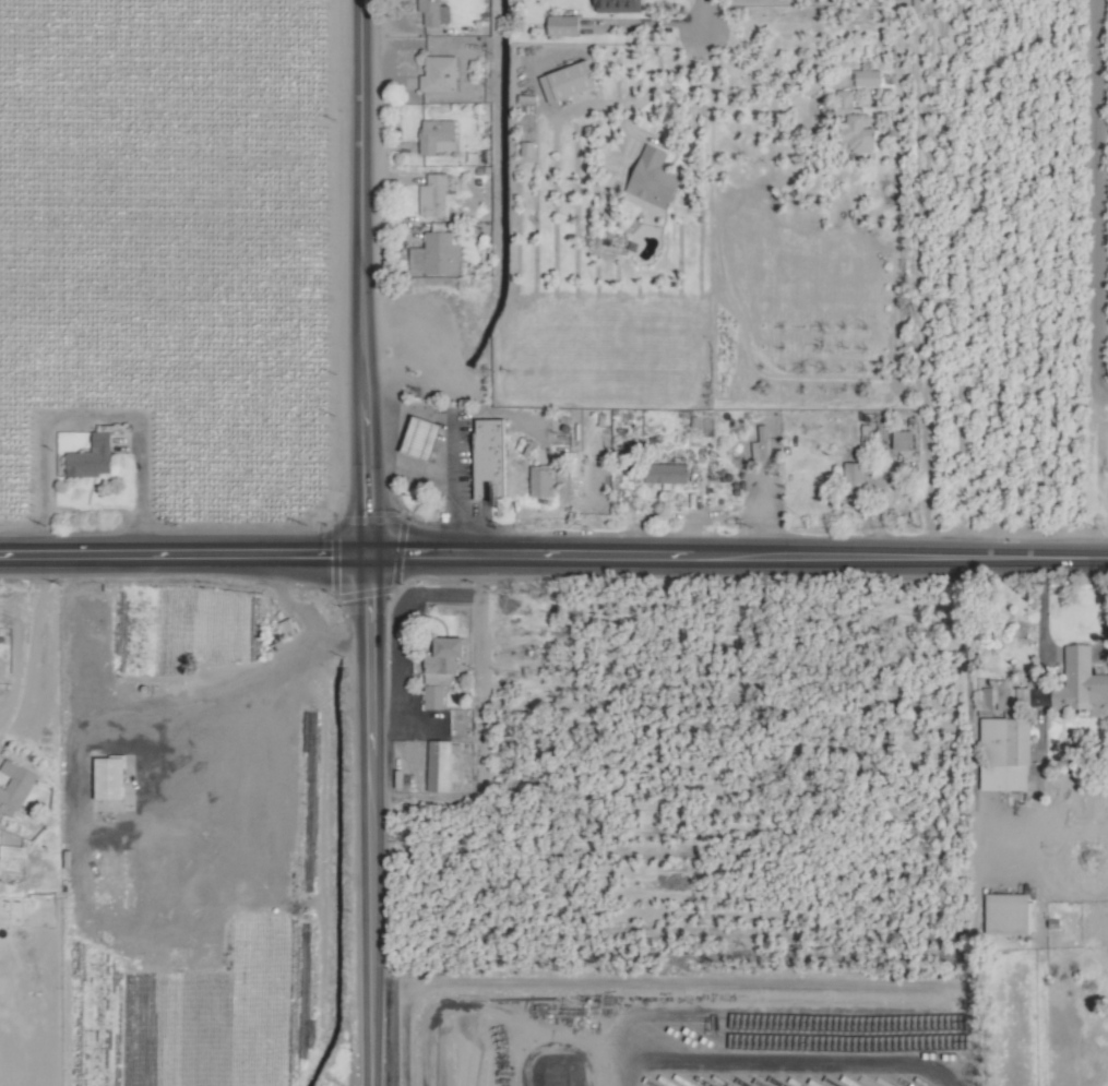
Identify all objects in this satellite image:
building: (618, 4)
building: (433, 11)
road: (705, 13)
building: (562, 24)
road: (751, 64)
building: (438, 73)
building: (867, 76)
building: (567, 80)
road: (691, 83)
building: (854, 127)
building: (437, 135)
building: (526, 147)
building: (654, 177)
building: (432, 195)
road: (1096, 202)
building: (436, 253)
road: (365, 276)
building: (902, 439)
road: (448, 445)
building: (91, 456)
building: (488, 458)
road: (408, 468)
building: (666, 472)
building: (854, 478)
building: (540, 480)
crop: (553, 542)
road: (183, 553)
road: (704, 554)
road: (1075, 557)
road: (1044, 609)
building: (285, 628)
building: (1, 639)
building: (442, 658)
building: (1080, 680)
building: (1020, 695)
building: (432, 696)
building: (1004, 753)
building: (438, 765)
building: (108, 778)
building: (13, 786)
road: (367, 820)
building: (13, 861)
building: (1006, 912)

